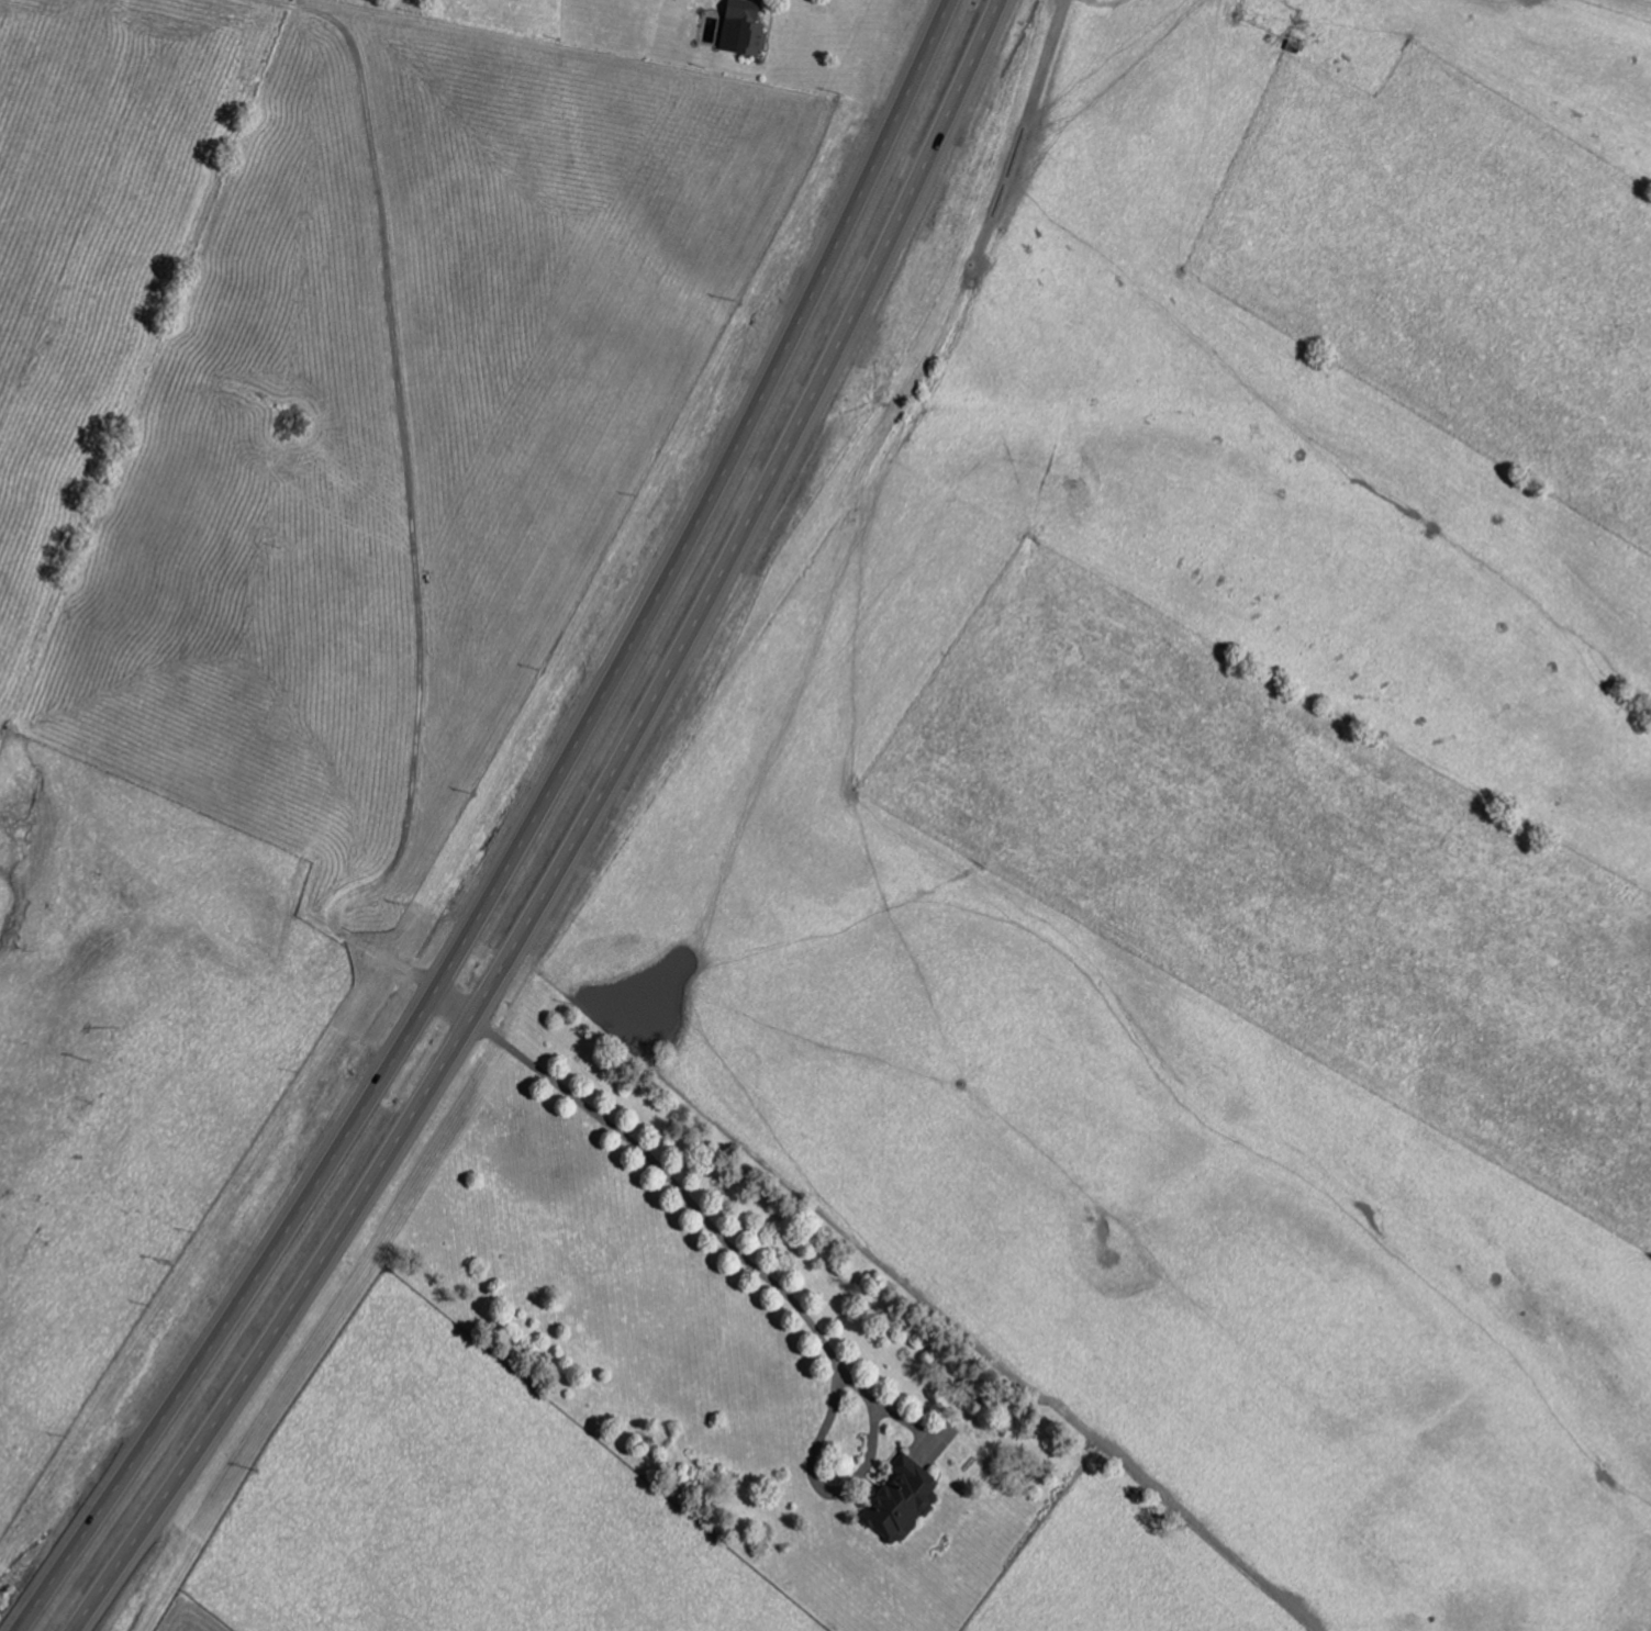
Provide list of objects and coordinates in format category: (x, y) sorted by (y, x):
building: (744, 29)
road: (533, 831)
road: (601, 839)
road: (460, 1009)
road: (709, 1231)
building: (900, 1497)

